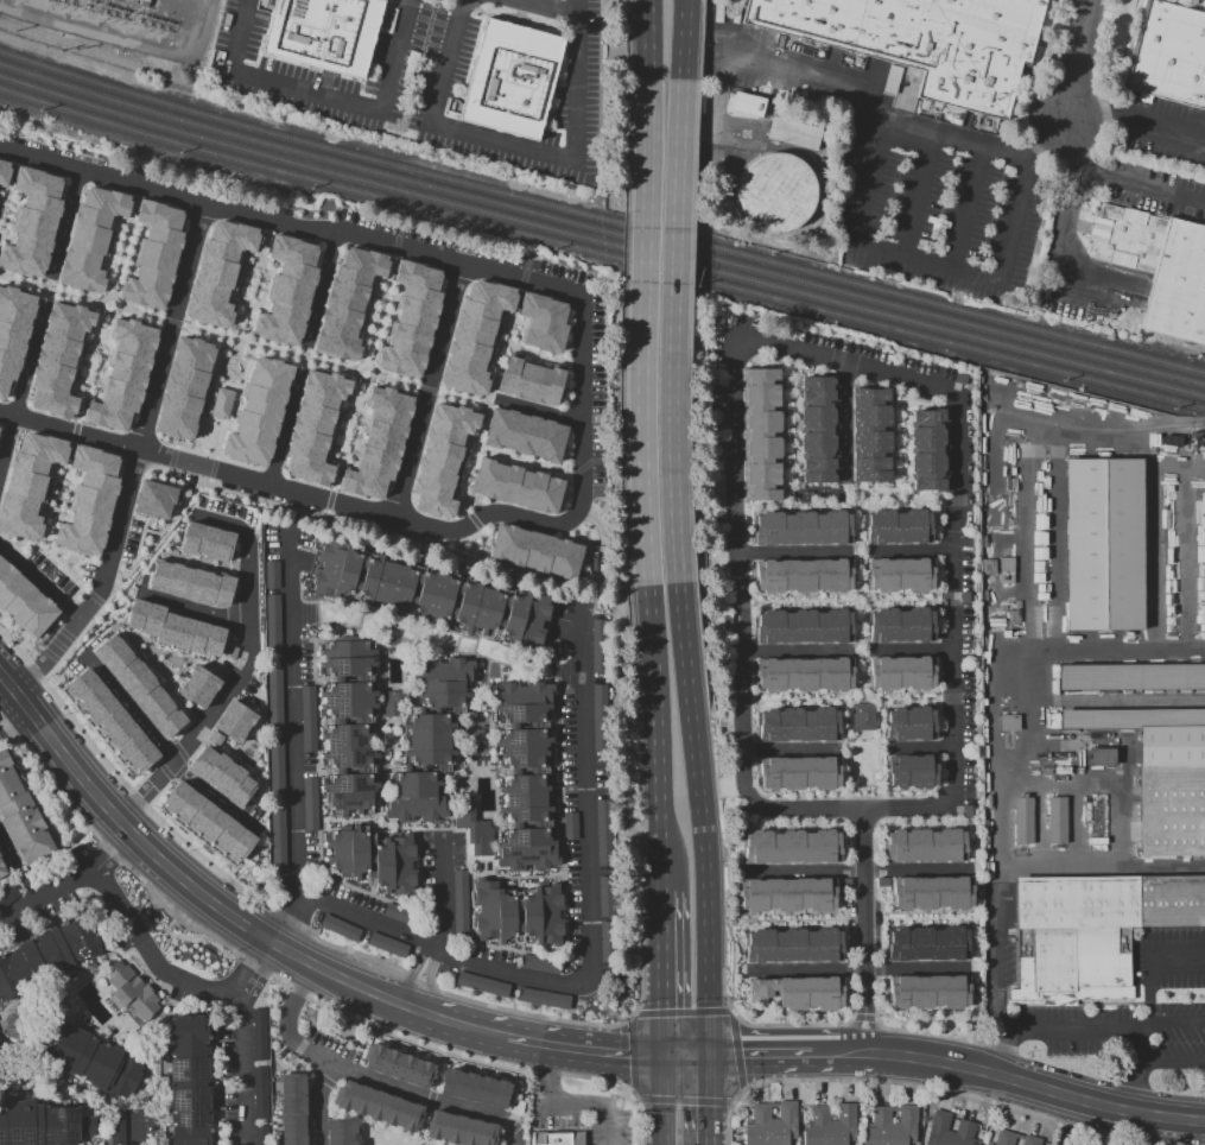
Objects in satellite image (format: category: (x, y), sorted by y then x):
road: (581, 8)
power substation: (128, 23)
building: (324, 33)
building: (924, 40)
building: (1169, 55)
road: (1074, 59)
building: (892, 78)
building: (512, 80)
road: (843, 86)
road: (328, 95)
building: (746, 103)
road: (648, 125)
road: (1135, 125)
road: (683, 127)
building: (792, 132)
road: (545, 153)
building: (4, 172)
road: (9, 177)
road: (1115, 181)
building: (775, 192)
storage tank: (775, 192)
road: (920, 197)
road: (969, 210)
road: (12, 216)
railway: (600, 219)
building: (32, 221)
road: (63, 223)
road: (287, 223)
railway: (601, 230)
road: (112, 236)
building: (91, 238)
railway: (601, 241)
building: (154, 254)
railway: (601, 254)
road: (1072, 259)
road: (132, 260)
building: (1160, 266)
road: (957, 271)
building: (218, 272)
road: (241, 274)
road: (1070, 281)
road: (45, 289)
road: (318, 290)
building: (287, 291)
road: (383, 297)
road: (114, 298)
road: (258, 302)
building: (348, 302)
road: (1092, 302)
road: (367, 305)
road: (379, 311)
road: (391, 317)
building: (411, 318)
road: (177, 322)
building: (543, 322)
road: (375, 323)
building: (13, 331)
building: (474, 335)
road: (505, 341)
road: (300, 356)
road: (369, 356)
building: (59, 358)
road: (543, 358)
road: (78, 363)
road: (363, 365)
building: (123, 374)
road: (99, 375)
road: (21, 380)
road: (360, 380)
building: (529, 381)
road: (731, 381)
road: (226, 382)
building: (184, 387)
road: (355, 387)
road: (431, 391)
road: (425, 392)
road: (236, 397)
road: (205, 400)
building: (221, 403)
road: (582, 406)
building: (259, 411)
road: (537, 411)
road: (844, 420)
road: (283, 426)
building: (315, 426)
road: (788, 426)
building: (817, 430)
railway: (1099, 431)
road: (334, 434)
building: (524, 434)
building: (761, 435)
building: (874, 435)
park: (208, 436)
road: (903, 438)
building: (378, 442)
road: (217, 447)
building: (928, 450)
road: (335, 451)
road: (354, 451)
road: (344, 456)
building: (442, 457)
road: (134, 461)
road: (467, 462)
road: (529, 464)
road: (646, 481)
road: (672, 481)
building: (28, 483)
road: (178, 485)
building: (516, 486)
road: (61, 488)
road: (851, 488)
road: (287, 489)
road: (45, 494)
road: (58, 498)
building: (154, 498)
building: (89, 501)
road: (848, 504)
road: (55, 510)
road: (66, 511)
road: (344, 521)
building: (899, 525)
building: (804, 526)
road: (151, 531)
building: (205, 540)
road: (152, 542)
road: (12, 544)
road: (138, 544)
building: (1103, 546)
building: (535, 550)
road: (911, 550)
road: (792, 551)
road: (860, 551)
road: (709, 552)
road: (175, 557)
road: (507, 568)
road: (78, 570)
road: (66, 574)
building: (271, 574)
building: (905, 575)
building: (804, 577)
road: (39, 580)
building: (190, 583)
building: (430, 594)
road: (844, 600)
road: (861, 600)
building: (24, 601)
road: (317, 605)
road: (189, 607)
building: (272, 620)
road: (110, 624)
building: (805, 625)
building: (901, 625)
building: (175, 628)
road: (72, 643)
building: (594, 645)
road: (912, 650)
road: (145, 651)
building: (229, 651)
road: (793, 651)
road: (858, 651)
road: (467, 653)
road: (166, 654)
road: (188, 659)
road: (996, 666)
road: (548, 668)
road: (237, 671)
road: (407, 673)
building: (805, 675)
building: (903, 675)
road: (233, 679)
road: (345, 679)
building: (1133, 679)
building: (139, 685)
building: (198, 685)
road: (14, 690)
building: (598, 694)
building: (274, 696)
building: (391, 698)
road: (848, 700)
road: (484, 704)
road: (414, 709)
building: (862, 716)
road: (13, 717)
building: (307, 717)
road: (348, 719)
building: (112, 720)
building: (234, 720)
building: (908, 721)
building: (1008, 722)
building: (348, 723)
building: (799, 723)
road: (524, 725)
road: (316, 730)
building: (214, 738)
building: (429, 739)
road: (380, 745)
road: (920, 747)
road: (164, 748)
road: (227, 748)
road: (789, 749)
road: (254, 751)
park: (862, 757)
road: (879, 757)
building: (1101, 758)
road: (845, 759)
road: (416, 766)
road: (456, 766)
building: (275, 767)
road: (349, 768)
road: (528, 771)
building: (912, 772)
road: (76, 773)
building: (1162, 773)
building: (799, 774)
building: (221, 776)
building: (525, 776)
road: (172, 778)
road: (259, 784)
road: (573, 789)
road: (159, 793)
road: (665, 798)
building: (309, 803)
road: (500, 811)
building: (21, 812)
building: (209, 820)
building: (1022, 820)
building: (1055, 820)
road: (531, 824)
building: (569, 825)
road: (408, 827)
building: (474, 829)
building: (602, 833)
building: (277, 837)
road: (467, 843)
building: (794, 844)
building: (925, 847)
road: (7, 850)
road: (370, 858)
building: (374, 859)
building: (2, 868)
road: (419, 868)
road: (856, 871)
road: (482, 872)
road: (70, 883)
road: (705, 883)
road: (443, 891)
building: (7, 894)
building: (934, 894)
building: (787, 897)
building: (458, 902)
road: (269, 909)
building: (395, 912)
building: (518, 913)
road: (518, 913)
road: (293, 916)
road: (858, 921)
building: (605, 922)
building: (338, 928)
building: (1092, 932)
road: (565, 936)
road: (166, 938)
building: (926, 942)
building: (386, 944)
building: (794, 944)
road: (275, 945)
building: (46, 954)
road: (151, 954)
road: (458, 954)
road: (994, 956)
road: (139, 961)
building: (539, 963)
road: (1147, 963)
road: (150, 966)
road: (857, 970)
road: (670, 972)
road: (66, 974)
road: (419, 976)
building: (481, 983)
road: (297, 988)
building: (132, 989)
building: (761, 992)
building: (926, 993)
building: (812, 994)
building: (543, 998)
road: (681, 1012)
road: (285, 1021)
road: (76, 1024)
road: (1174, 1024)
road: (1051, 1026)
road: (473, 1030)
building: (259, 1035)
road: (239, 1039)
road: (567, 1049)
road: (736, 1050)
road: (156, 1051)
road: (633, 1055)
road: (6, 1057)
building: (89, 1058)
road: (652, 1058)
traffic signals: (670, 1058)
road: (693, 1058)
road: (837, 1058)
traffic signals: (717, 1059)
road: (765, 1059)
road: (1153, 1061)
building: (398, 1063)
building: (189, 1080)
road: (1034, 1084)
building: (475, 1086)
road: (1131, 1086)
road: (930, 1088)
road: (63, 1093)
road: (430, 1099)
road: (683, 1099)
road: (315, 1101)
road: (668, 1101)
road: (716, 1101)
building: (259, 1102)
building: (378, 1103)
road: (569, 1105)
building: (293, 1108)
road: (131, 1112)
building: (42, 1124)
building: (770, 1124)
building: (829, 1125)
building: (889, 1126)
building: (116, 1127)
building: (459, 1127)
building: (341, 1131)
building: (949, 1131)
road: (131, 1132)
building: (1002, 1137)
building: (557, 1138)
building: (1029, 1139)
building: (255, 1144)
building: (987, 1144)

